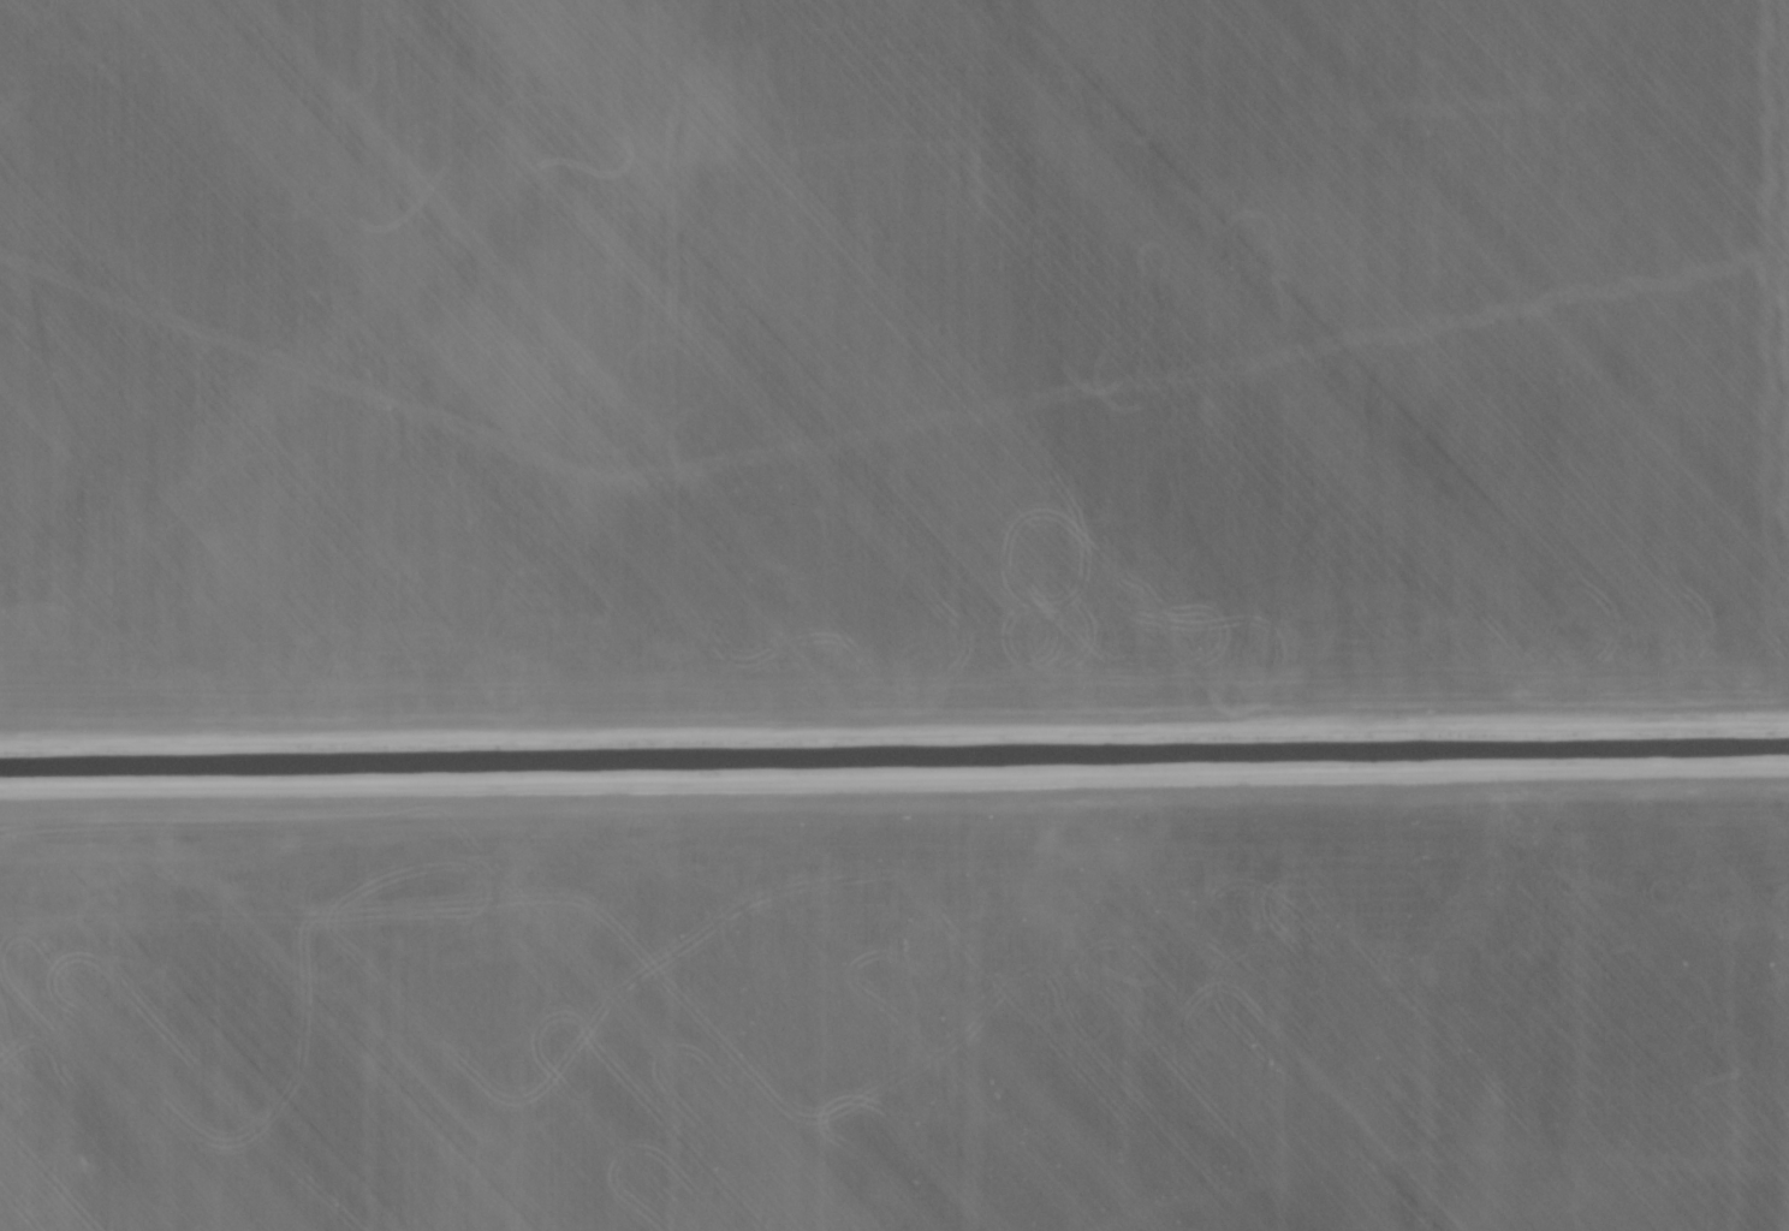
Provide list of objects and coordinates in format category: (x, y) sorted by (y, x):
road: (895, 779)

